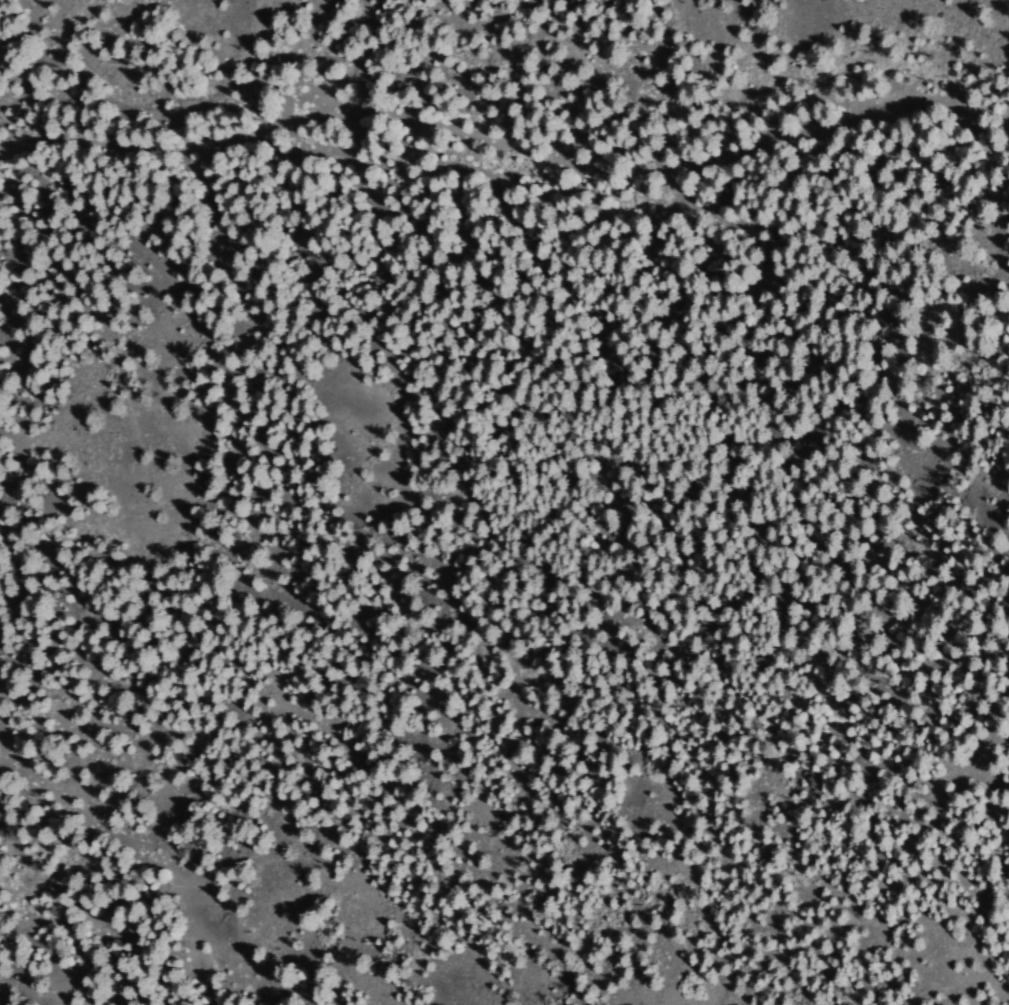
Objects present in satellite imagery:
road: (510, 120)

